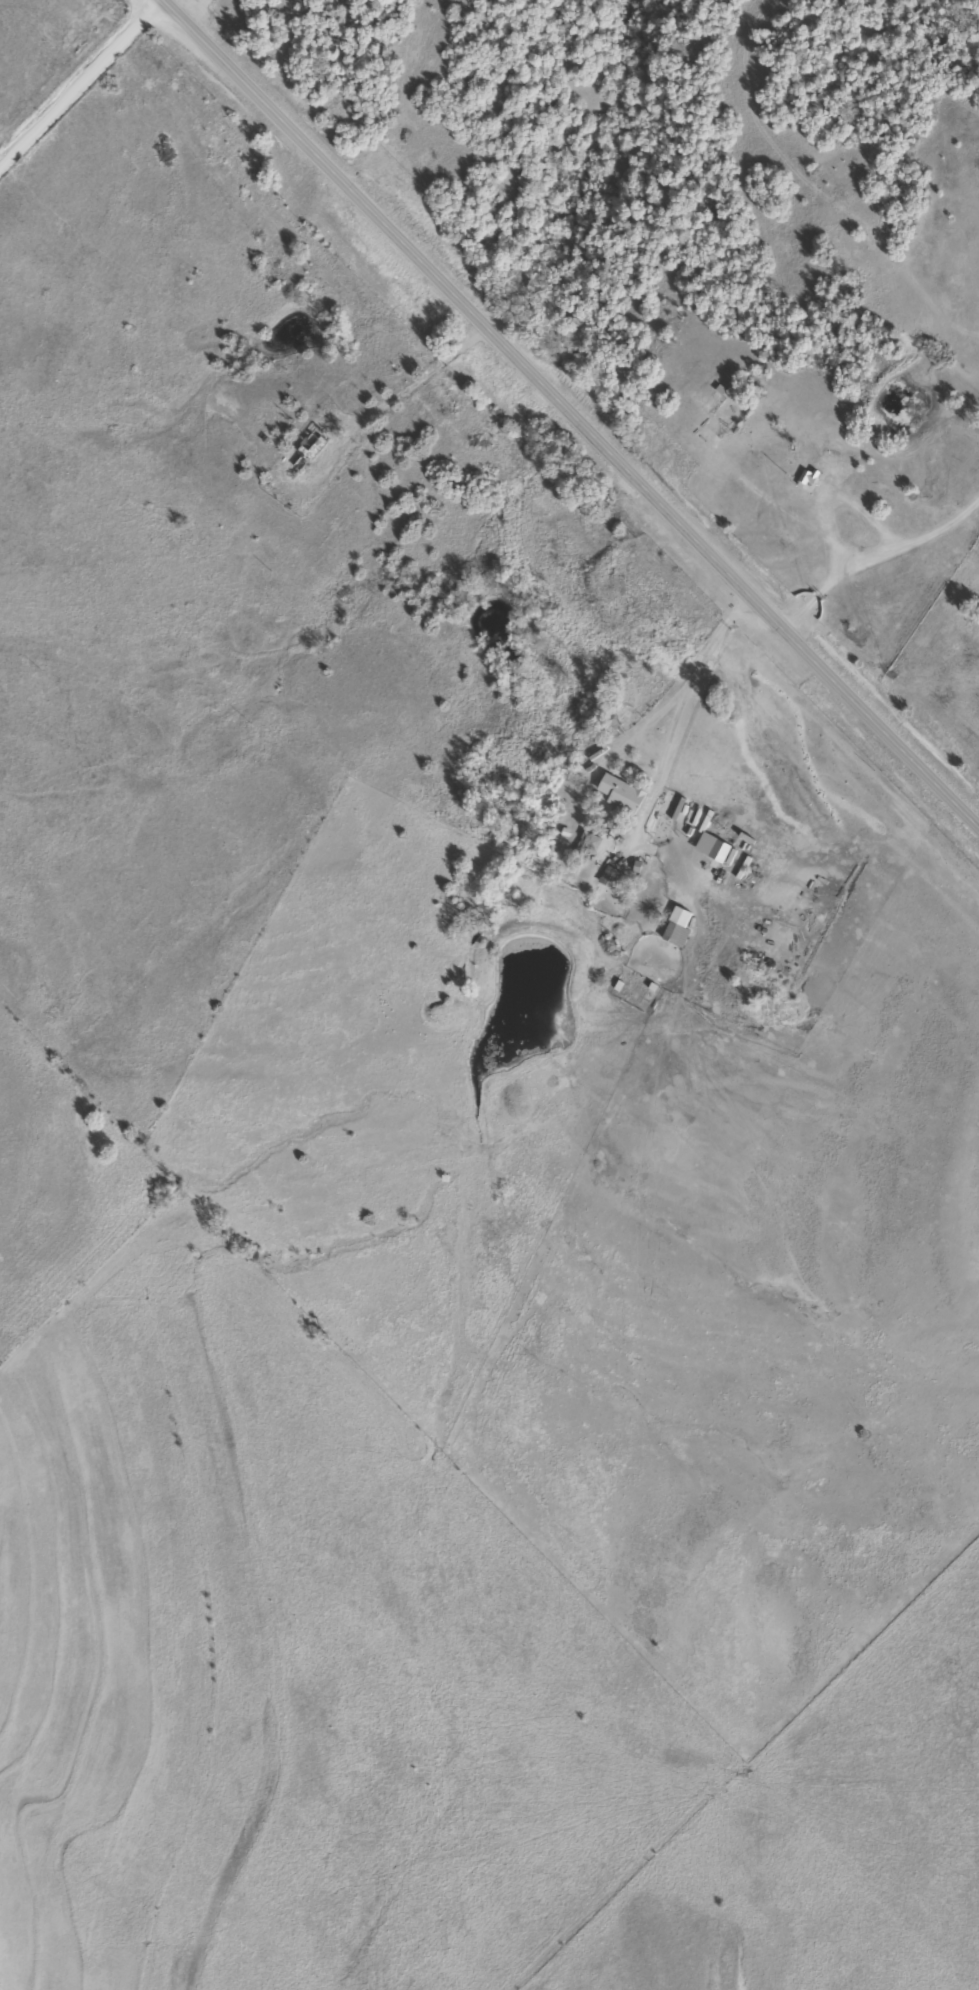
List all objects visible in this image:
road: (81, 80)
road: (571, 414)
building: (303, 452)
building: (804, 478)
building: (614, 795)
building: (583, 845)
building: (715, 854)
building: (606, 879)
building: (668, 934)

